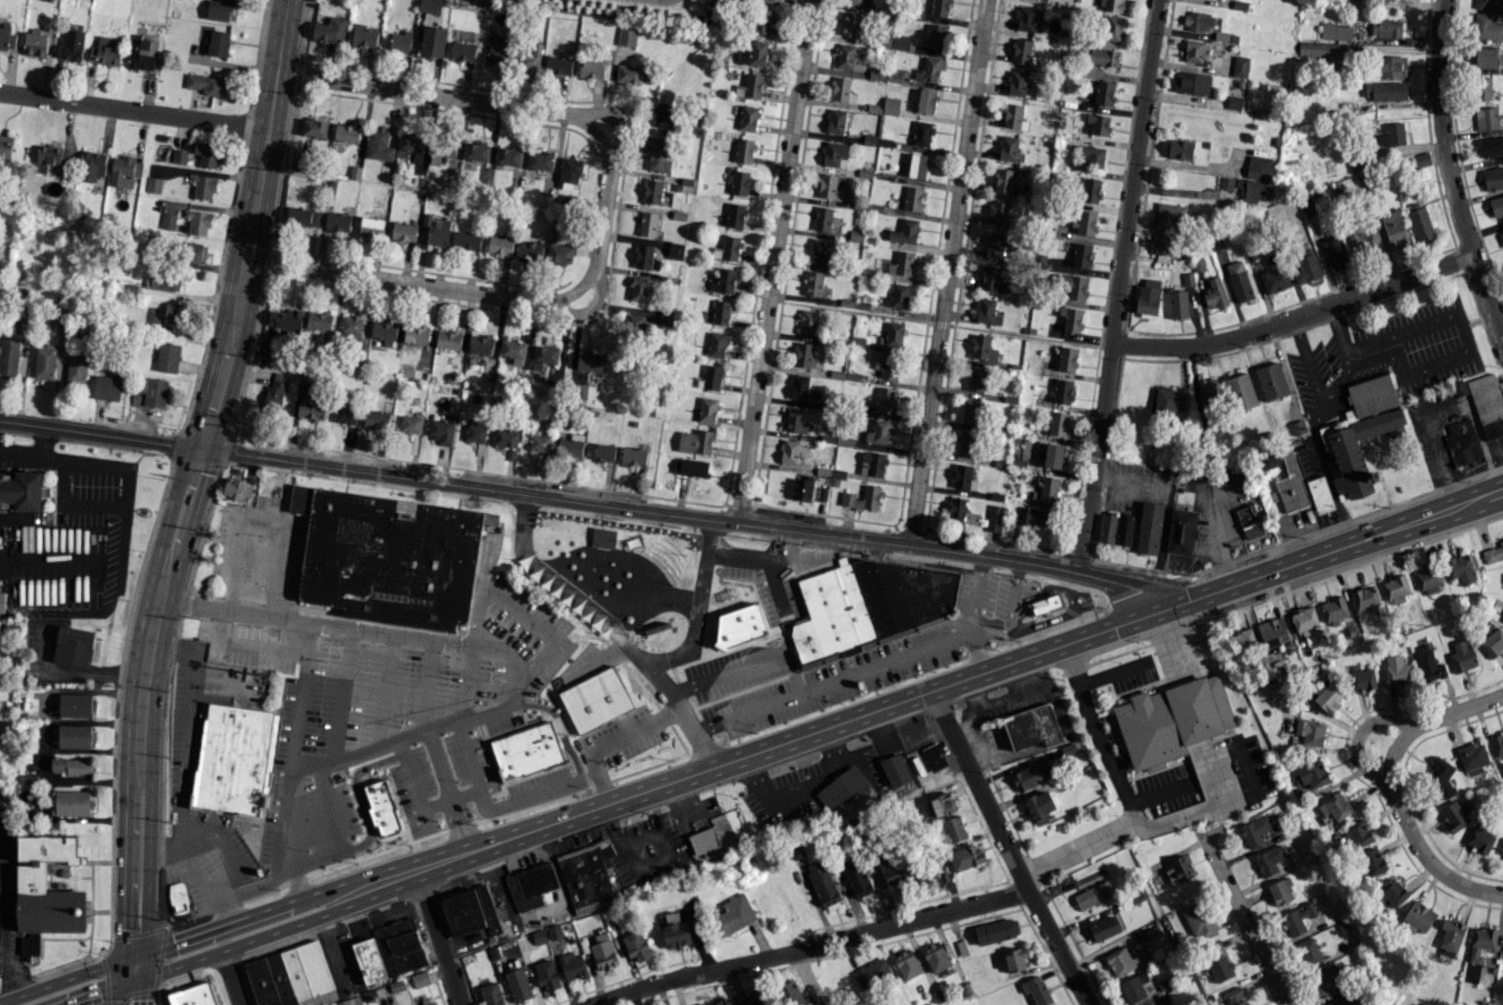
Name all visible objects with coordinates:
building: (769, 0)
building: (859, 1)
building: (1112, 5)
building: (429, 6)
building: (940, 8)
building: (220, 10)
building: (1029, 19)
building: (762, 21)
building: (1198, 21)
building: (850, 24)
building: (1487, 27)
building: (1113, 28)
building: (1385, 28)
building: (330, 29)
building: (1335, 31)
building: (364, 36)
building: (627, 36)
building: (6, 37)
building: (935, 37)
building: (400, 41)
building: (433, 41)
building: (894, 41)
building: (34, 43)
building: (218, 43)
building: (70, 45)
building: (1324, 49)
building: (498, 50)
building: (105, 51)
building: (462, 51)
building: (1021, 51)
building: (1195, 52)
building: (142, 53)
building: (753, 53)
building: (1103, 57)
building: (1486, 57)
building: (529, 58)
building: (849, 58)
building: (559, 65)
building: (1392, 66)
building: (1240, 67)
building: (592, 69)
building: (929, 69)
building: (629, 74)
building: (877, 74)
building: (1017, 83)
building: (1192, 83)
building: (209, 84)
building: (750, 86)
building: (1482, 88)
building: (842, 90)
building: (1385, 91)
building: (1104, 93)
road: (429, 95)
building: (926, 101)
building: (1234, 102)
building: (891, 106)
road: (133, 111)
building: (663, 115)
building: (1012, 115)
building: (749, 118)
building: (1486, 118)
building: (835, 121)
road: (615, 123)
building: (1099, 124)
building: (314, 127)
road: (267, 129)
building: (346, 132)
building: (922, 133)
building: (1392, 135)
building: (378, 143)
building: (657, 143)
building: (412, 145)
building: (5, 146)
building: (1491, 146)
building: (1007, 148)
building: (444, 149)
building: (1180, 149)
building: (743, 150)
building: (476, 151)
building: (207, 154)
building: (834, 154)
building: (179, 156)
building: (508, 156)
building: (1092, 156)
building: (50, 157)
building: (1421, 160)
building: (540, 161)
building: (659, 161)
building: (91, 165)
building: (917, 166)
building: (1258, 167)
building: (570, 170)
building: (121, 171)
road: (1453, 178)
building: (1493, 178)
building: (1004, 180)
building: (739, 183)
building: (830, 185)
building: (204, 187)
building: (1248, 188)
building: (1088, 190)
building: (652, 191)
road: (1183, 191)
building: (913, 198)
building: (1496, 205)
building: (998, 213)
building: (735, 215)
building: (1170, 216)
building: (302, 217)
road: (602, 219)
building: (822, 219)
building: (168, 221)
building: (337, 221)
building: (199, 222)
building: (1086, 222)
building: (1420, 223)
building: (648, 224)
building: (371, 227)
building: (436, 230)
building: (1394, 230)
building: (404, 231)
building: (904, 232)
building: (1501, 235)
building: (1365, 239)
building: (468, 240)
building: (502, 243)
building: (994, 245)
building: (728, 248)
building: (530, 250)
building: (675, 251)
building: (817, 251)
building: (194, 252)
building: (560, 253)
building: (1335, 253)
building: (1079, 254)
building: (643, 256)
road: (772, 261)
building: (902, 264)
building: (1306, 266)
road: (947, 272)
building: (991, 279)
building: (162, 280)
building: (1239, 280)
building: (1275, 280)
road: (397, 281)
building: (724, 281)
building: (814, 284)
road: (1119, 286)
building: (640, 288)
building: (1074, 288)
building: (1215, 294)
building: (897, 296)
building: (1148, 297)
building: (1178, 304)
road: (593, 307)
building: (986, 311)
building: (171, 312)
building: (721, 312)
road: (1294, 318)
building: (285, 319)
building: (1071, 319)
building: (319, 320)
building: (808, 322)
building: (632, 325)
building: (351, 326)
building: (385, 331)
building: (416, 334)
building: (892, 335)
road: (1379, 338)
building: (448, 339)
building: (481, 344)
building: (716, 344)
building: (982, 348)
building: (514, 351)
building: (803, 355)
building: (544, 356)
building: (8, 357)
building: (167, 357)
building: (1067, 359)
building: (590, 361)
building: (44, 362)
building: (888, 366)
road: (1307, 366)
building: (76, 367)
building: (712, 377)
building: (976, 379)
building: (1272, 381)
road: (1341, 381)
building: (107, 387)
building: (799, 387)
building: (1460, 388)
building: (276, 391)
building: (1062, 391)
building: (150, 392)
building: (1209, 392)
building: (1241, 392)
building: (1372, 395)
building: (884, 399)
building: (1168, 402)
building: (1488, 404)
building: (310, 408)
building: (707, 410)
building: (970, 411)
building: (345, 412)
building: (377, 419)
building: (795, 420)
building: (1058, 423)
building: (411, 424)
building: (1298, 427)
building: (441, 431)
building: (475, 431)
road: (1478, 431)
building: (878, 432)
building: (542, 438)
building: (837, 439)
road: (42, 440)
building: (506, 441)
building: (696, 441)
building: (965, 443)
building: (1462, 443)
building: (571, 446)
traffic signals: (201, 448)
building: (604, 452)
building: (789, 452)
road: (18, 453)
building: (634, 456)
building: (1053, 456)
road: (1440, 460)
building: (872, 463)
building: (691, 467)
building: (962, 477)
building: (1290, 484)
building: (1048, 488)
building: (237, 489)
building: (23, 490)
building: (802, 490)
road: (1501, 491)
building: (1320, 494)
building: (864, 498)
road: (1479, 499)
road: (523, 501)
road: (584, 502)
building: (956, 509)
road: (181, 513)
building: (1037, 516)
building: (993, 518)
road: (262, 521)
building: (1249, 521)
building: (1108, 527)
building: (1150, 528)
building: (1124, 530)
building: (1181, 532)
road: (708, 541)
building: (1493, 553)
building: (390, 560)
road: (42, 569)
building: (1460, 569)
building: (1429, 578)
road: (551, 582)
building: (1396, 589)
building: (910, 595)
road: (975, 596)
building: (1365, 597)
building: (2, 602)
building: (1044, 602)
building: (1498, 605)
building: (1335, 609)
traffic signals: (1159, 610)
building: (843, 612)
road: (522, 613)
building: (1304, 619)
road: (694, 622)
building: (740, 627)
road: (1011, 630)
building: (1273, 631)
road: (1169, 639)
building: (1240, 641)
building: (1493, 642)
building: (806, 644)
road: (245, 645)
building: (74, 646)
building: (1462, 656)
road: (651, 661)
building: (1429, 664)
road: (73, 670)
building: (1396, 670)
road: (654, 673)
building: (1362, 679)
road: (467, 685)
road: (838, 685)
road: (430, 686)
road: (383, 694)
road: (690, 696)
building: (1328, 697)
road: (341, 700)
building: (596, 700)
road: (902, 700)
building: (73, 705)
building: (1173, 720)
building: (1032, 727)
building: (1310, 732)
building: (73, 736)
road: (1356, 736)
road: (614, 740)
road: (701, 740)
building: (1497, 744)
road: (187, 747)
building: (526, 751)
building: (934, 756)
building: (1472, 757)
building: (231, 758)
building: (73, 766)
road: (471, 767)
building: (895, 770)
building: (1313, 774)
building: (1440, 775)
building: (1030, 776)
building: (841, 788)
road: (1388, 788)
road: (1122, 791)
road: (445, 792)
building: (70, 803)
building: (942, 804)
building: (1335, 806)
building: (382, 807)
building: (1039, 807)
road: (1180, 816)
building: (1454, 816)
road: (455, 826)
building: (954, 829)
building: (1254, 831)
road: (1, 834)
building: (1357, 835)
building: (1480, 838)
building: (705, 842)
road: (1007, 848)
building: (1501, 849)
building: (965, 857)
road: (147, 859)
building: (1269, 861)
building: (1372, 862)
road: (122, 863)
building: (1182, 867)
building: (892, 869)
building: (588, 875)
building: (1171, 876)
building: (856, 878)
road: (298, 882)
road: (206, 883)
building: (823, 885)
building: (51, 886)
building: (530, 886)
building: (1280, 891)
building: (1392, 893)
building: (1094, 895)
building: (178, 898)
building: (470, 911)
road: (9, 915)
building: (732, 916)
building: (1419, 916)
building: (1299, 918)
road: (233, 919)
building: (1198, 920)
road: (1243, 920)
traffic signals: (122, 928)
building: (1104, 928)
building: (996, 930)
building: (675, 931)
building: (539, 936)
building: (1451, 937)
road: (437, 938)
traffic signals: (173, 941)
building: (1481, 943)
building: (404, 945)
building: (636, 946)
road: (806, 948)
building: (603, 951)
building: (1309, 951)
road: (210, 954)
building: (936, 958)
building: (1015, 959)
building: (369, 961)
building: (1121, 961)
building: (907, 964)
building: (573, 966)
building: (1220, 968)
building: (546, 974)
building: (872, 974)
building: (288, 975)
road: (230, 977)
road: (144, 978)
road: (810, 978)
building: (420, 979)
building: (1326, 979)
road: (61, 980)
road: (120, 982)
building: (518, 984)
building: (1134, 987)
building: (1037, 990)
building: (791, 993)
traffic signals: (98, 994)
building: (491, 994)
building: (1236, 996)
building: (755, 997)
building: (201, 998)
traffic signals: (144, 999)
building: (1346, 1000)
building: (723, 1002)
building: (431, 1003)
building: (703, 1004)
building: (1155, 1004)

